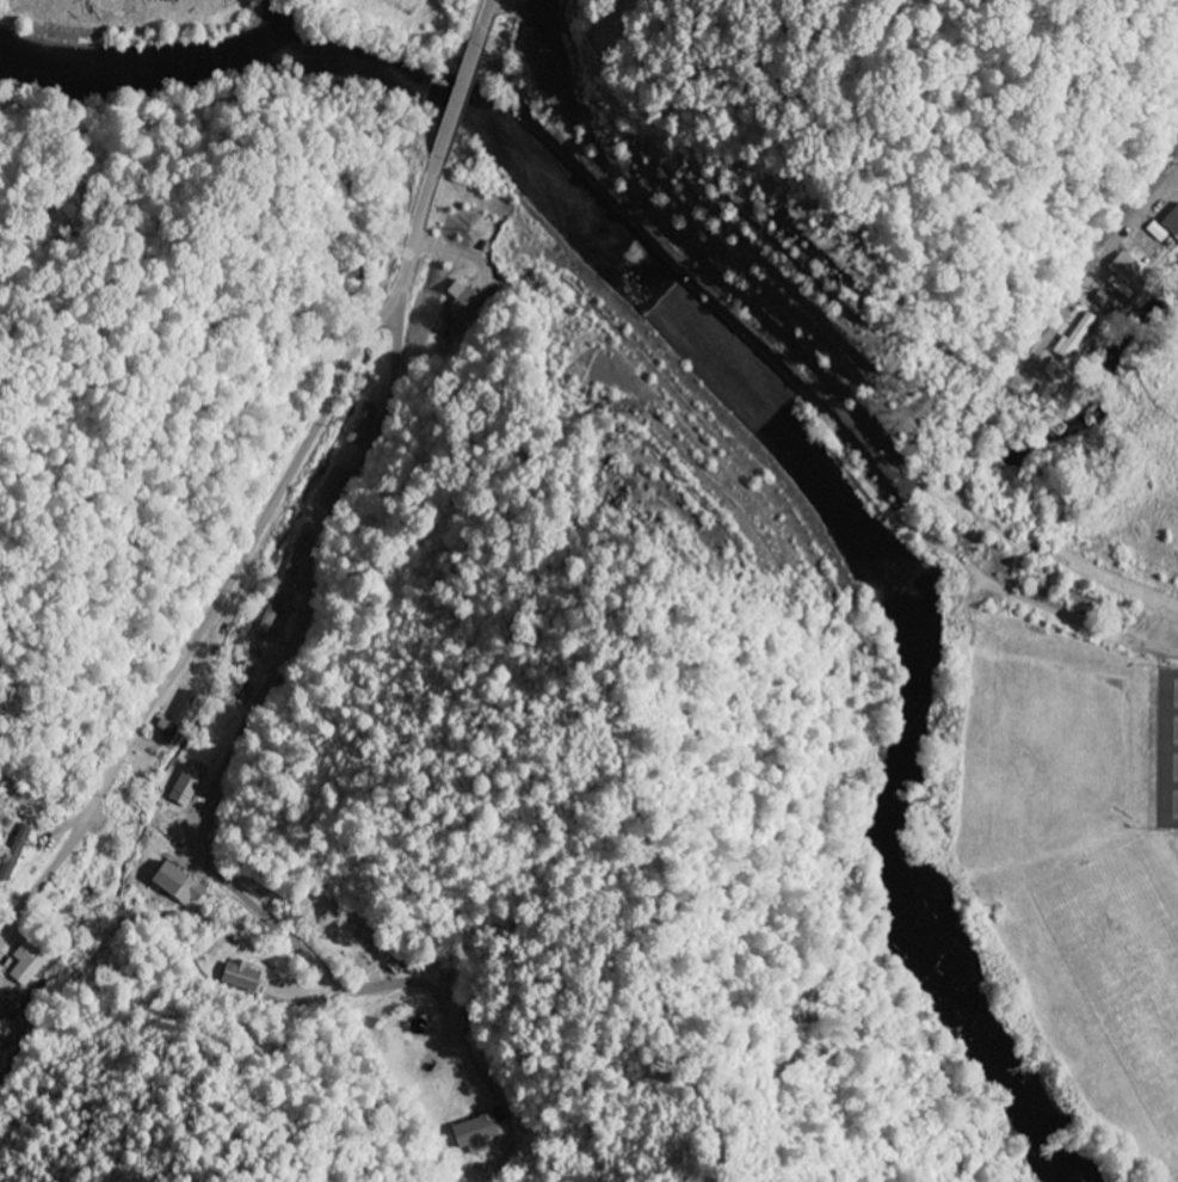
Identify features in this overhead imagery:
river: (286, 21)
road: (482, 21)
road: (458, 101)
building: (1166, 224)
building: (1122, 267)
road: (1093, 283)
building: (467, 304)
building: (1073, 338)
river: (763, 386)
road: (239, 565)
road: (303, 614)
building: (192, 787)
building: (181, 886)
building: (30, 965)
road: (316, 972)
building: (240, 977)
building: (474, 1134)

